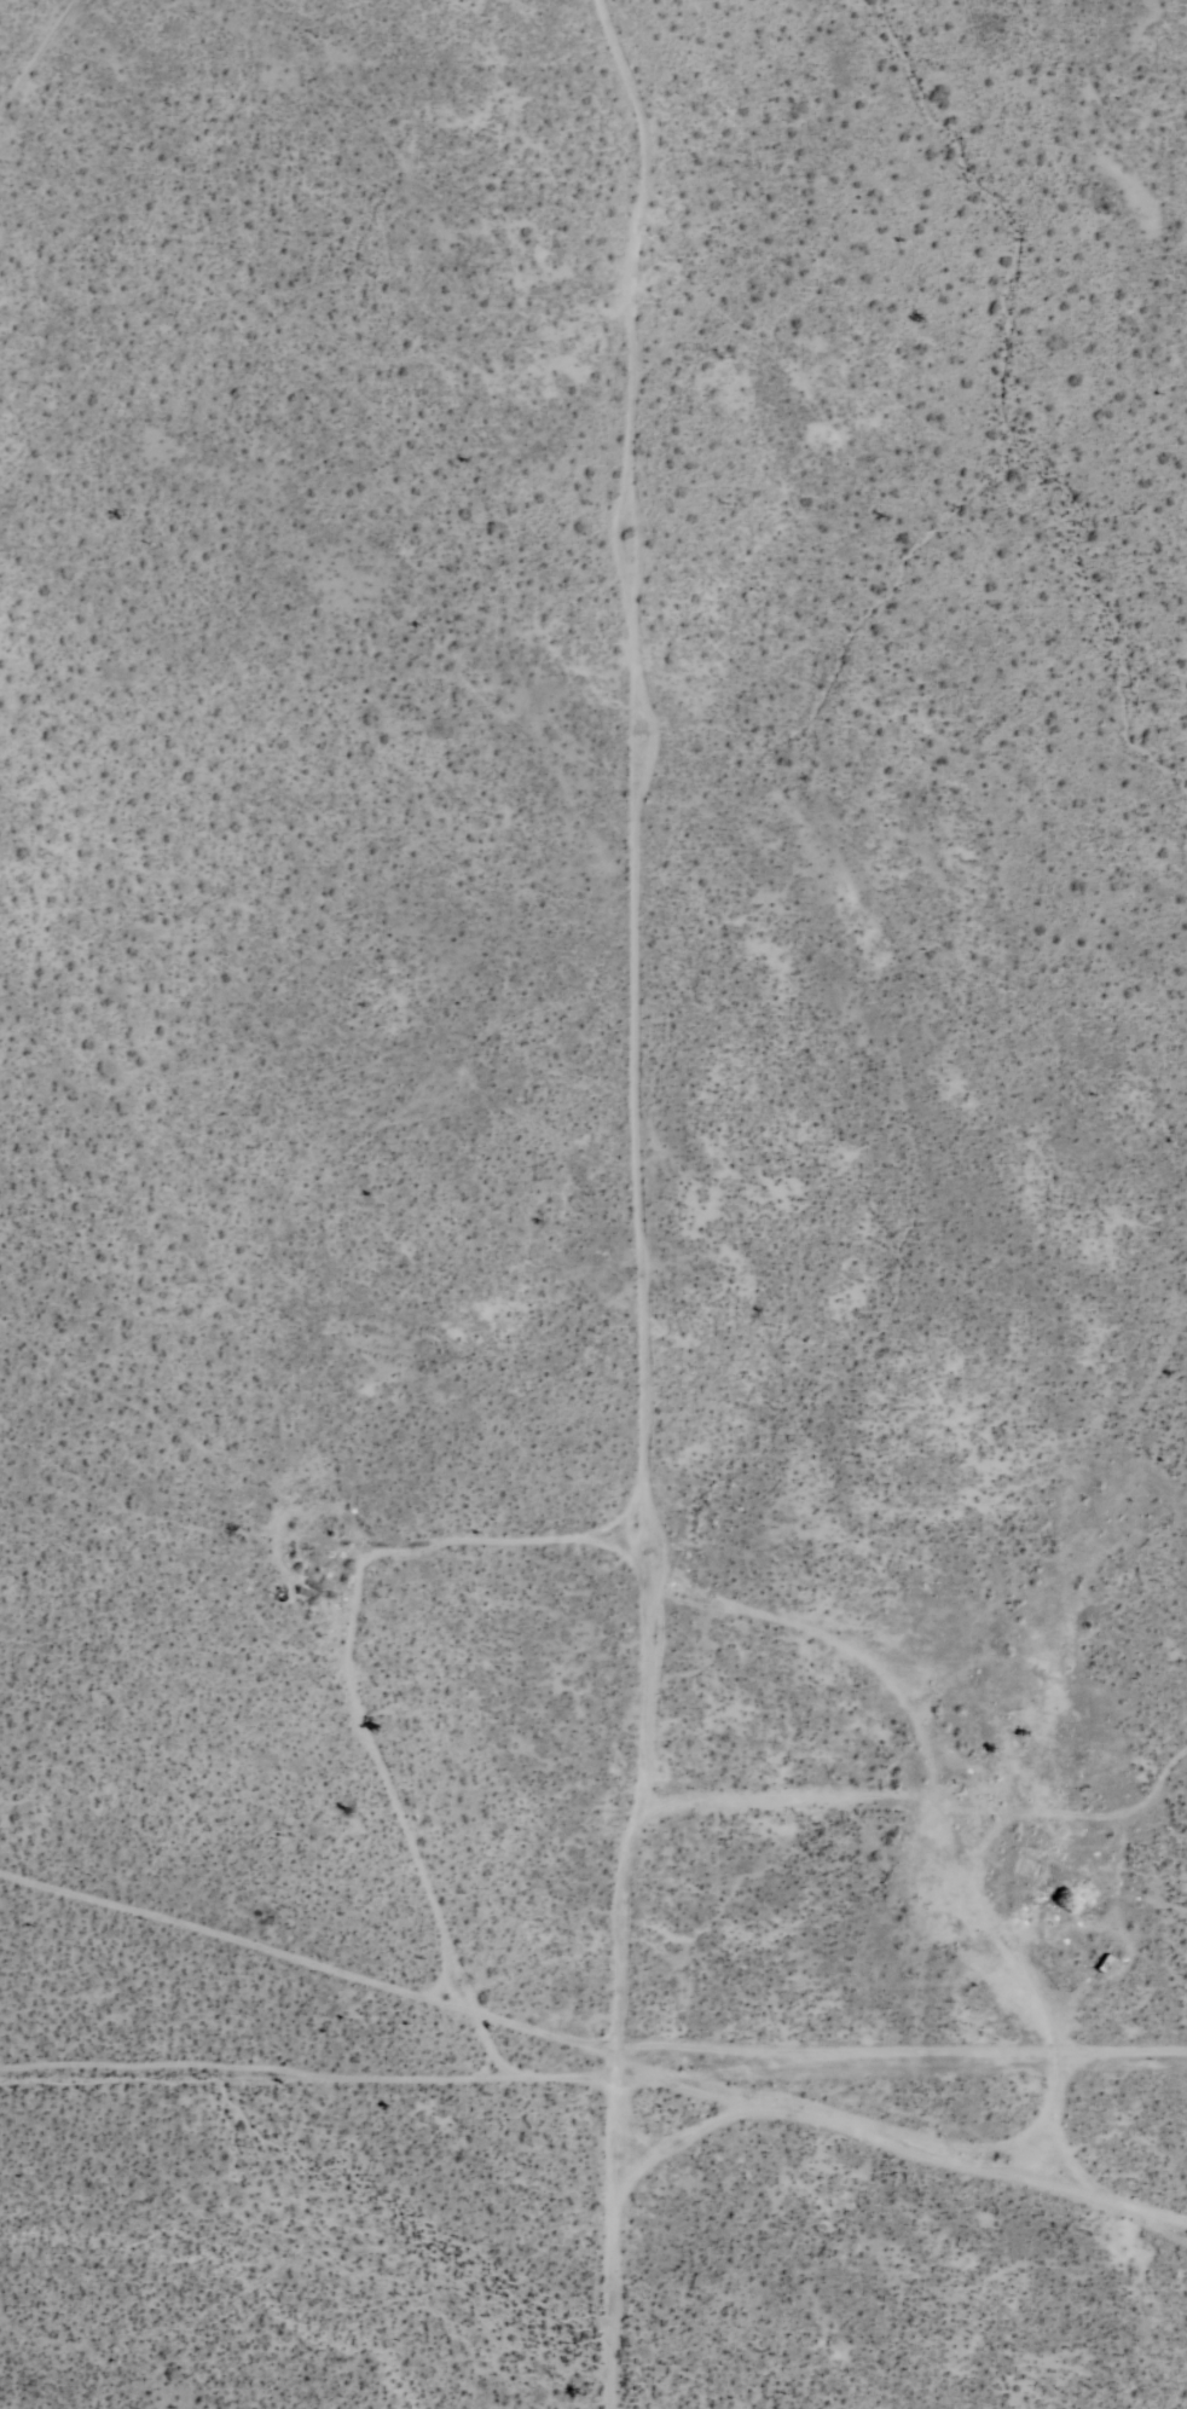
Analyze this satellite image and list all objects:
road: (274, 1955)
road: (583, 2043)
road: (833, 2048)
road: (1061, 2060)
road: (604, 2063)
road: (612, 2236)

